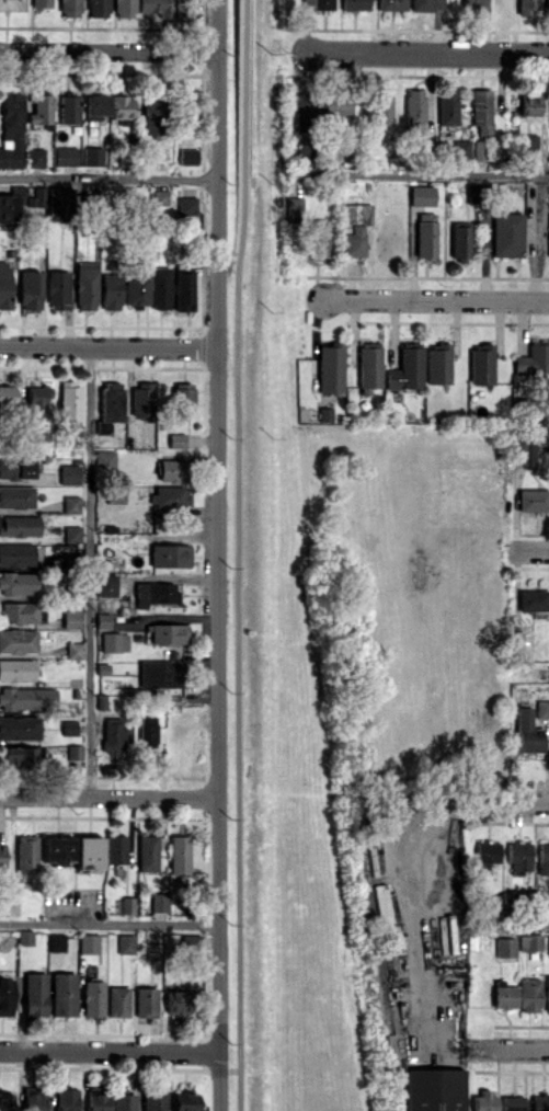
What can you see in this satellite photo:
building: (41, 3)
building: (322, 3)
building: (476, 3)
building: (10, 4)
building: (355, 4)
building: (391, 4)
building: (426, 4)
building: (546, 5)
building: (527, 7)
building: (69, 8)
building: (98, 8)
building: (124, 8)
building: (155, 9)
road: (107, 49)
road: (428, 51)
road: (241, 92)
building: (529, 104)
building: (96, 105)
building: (338, 105)
building: (122, 106)
building: (447, 107)
building: (41, 108)
building: (69, 108)
building: (414, 110)
building: (481, 110)
building: (185, 112)
building: (152, 114)
building: (304, 114)
building: (11, 130)
building: (529, 147)
building: (460, 149)
building: (65, 156)
building: (92, 156)
building: (187, 156)
building: (35, 157)
road: (419, 174)
road: (107, 177)
building: (477, 193)
building: (422, 195)
building: (36, 197)
building: (159, 197)
building: (12, 203)
building: (55, 204)
building: (186, 207)
building: (294, 207)
building: (354, 227)
building: (506, 233)
building: (425, 234)
building: (318, 237)
building: (460, 240)
building: (4, 285)
building: (85, 285)
building: (160, 287)
building: (30, 289)
building: (58, 289)
building: (135, 289)
building: (110, 290)
building: (183, 290)
road: (437, 299)
road: (107, 346)
building: (533, 360)
building: (437, 364)
building: (481, 364)
building: (330, 367)
building: (368, 367)
building: (407, 367)
building: (7, 394)
building: (141, 399)
building: (111, 400)
building: (186, 400)
building: (36, 401)
building: (70, 401)
building: (324, 413)
building: (104, 426)
building: (176, 439)
building: (524, 454)
building: (104, 459)
building: (16, 468)
building: (171, 470)
building: (69, 473)
building: (115, 494)
building: (171, 495)
building: (16, 496)
building: (533, 500)
building: (71, 504)
building: (19, 525)
building: (71, 534)
road: (533, 550)
building: (16, 553)
building: (170, 554)
road: (217, 554)
railway: (262, 554)
road: (90, 571)
building: (18, 582)
building: (106, 584)
building: (155, 593)
building: (533, 599)
building: (22, 612)
building: (71, 618)
building: (102, 620)
building: (168, 633)
building: (18, 641)
building: (114, 641)
road: (238, 646)
building: (73, 650)
building: (16, 669)
road: (544, 671)
building: (160, 673)
building: (25, 698)
building: (541, 708)
building: (20, 726)
building: (68, 726)
building: (147, 731)
building: (526, 731)
building: (114, 734)
building: (18, 755)
building: (73, 759)
road: (108, 795)
road: (488, 806)
building: (115, 848)
building: (57, 849)
building: (2, 850)
building: (147, 852)
building: (89, 854)
building: (180, 854)
building: (26, 856)
building: (519, 856)
building: (544, 858)
building: (547, 898)
building: (159, 902)
building: (380, 902)
building: (127, 904)
road: (418, 910)
road: (110, 923)
road: (511, 924)
building: (24, 937)
building: (56, 941)
building: (529, 941)
building: (88, 942)
building: (125, 943)
building: (548, 944)
building: (505, 947)
building: (153, 950)
building: (35, 994)
building: (64, 994)
building: (529, 994)
building: (547, 994)
building: (504, 995)
building: (5, 996)
building: (93, 997)
building: (117, 1000)
building: (146, 1001)
building: (176, 1003)
road: (507, 1047)
road: (110, 1051)
building: (434, 1089)
building: (34, 1098)
building: (153, 1098)
building: (66, 1099)
building: (94, 1099)
building: (186, 1100)
building: (5, 1101)
building: (123, 1101)
building: (484, 1101)
building: (512, 1102)
building: (539, 1102)

